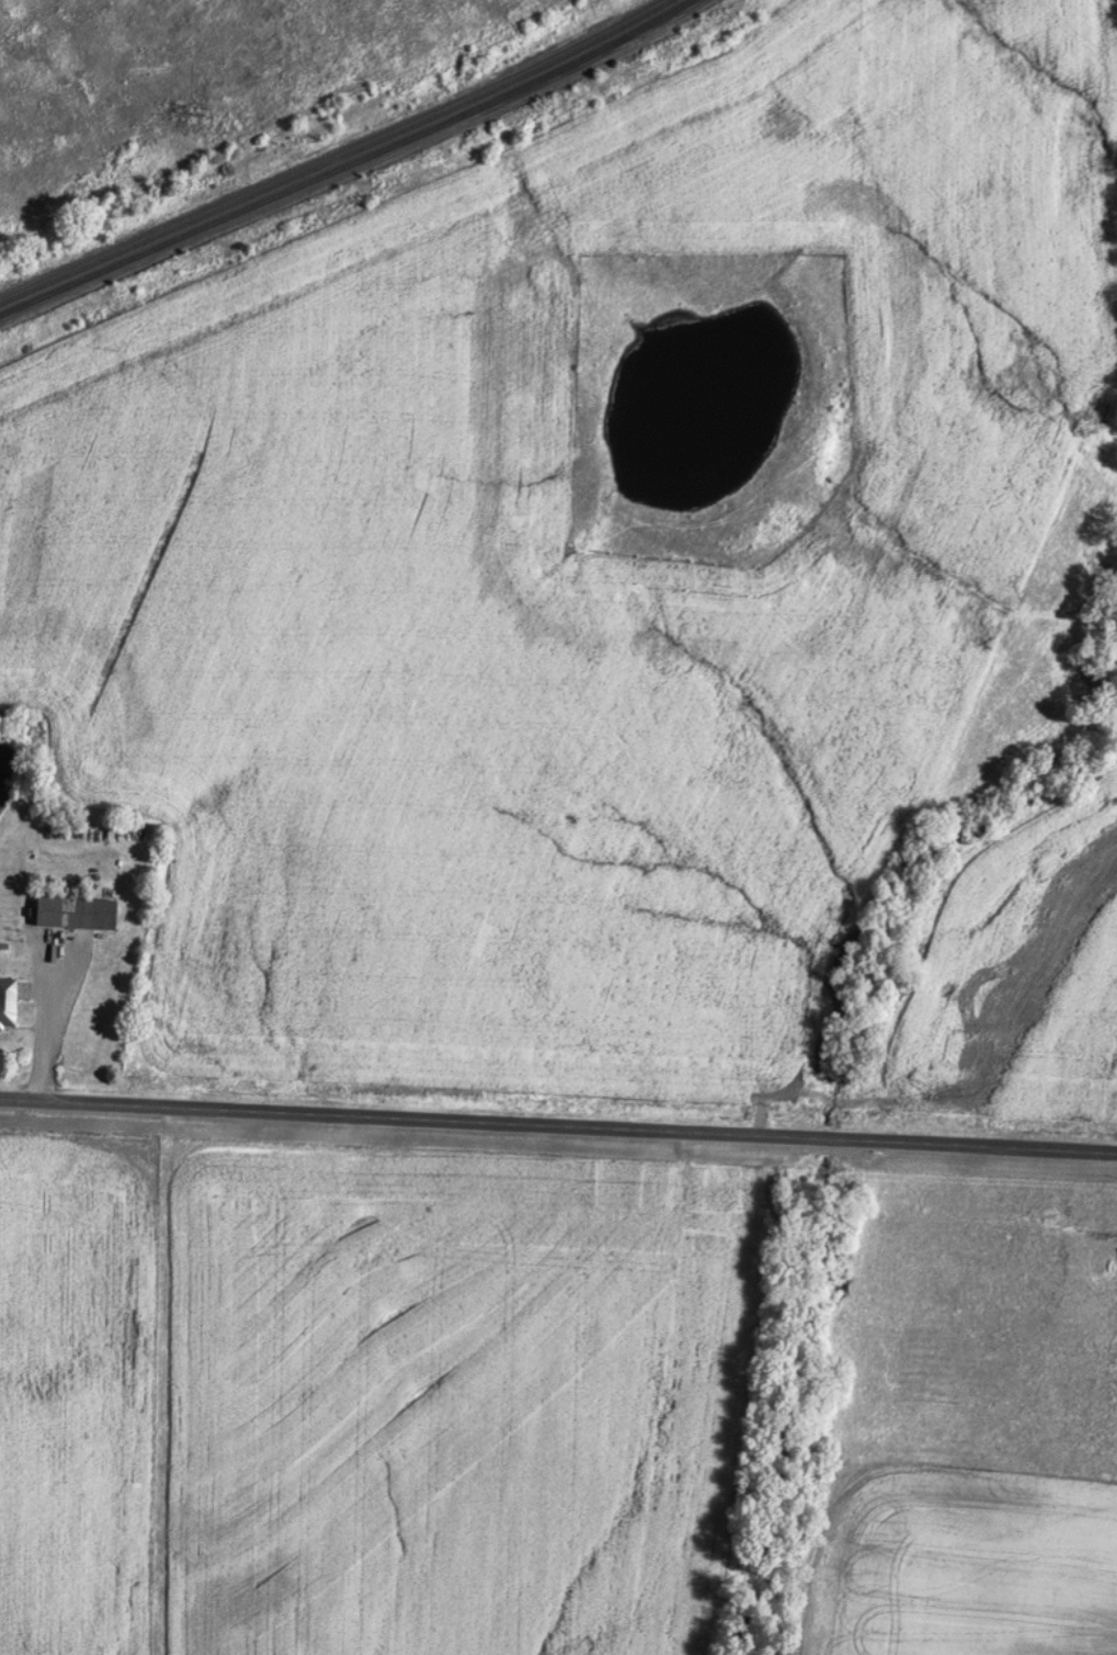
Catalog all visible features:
railway: (337, 157)
railway: (349, 165)
building: (68, 912)
building: (4, 1001)
road: (54, 1017)
road: (558, 1122)

